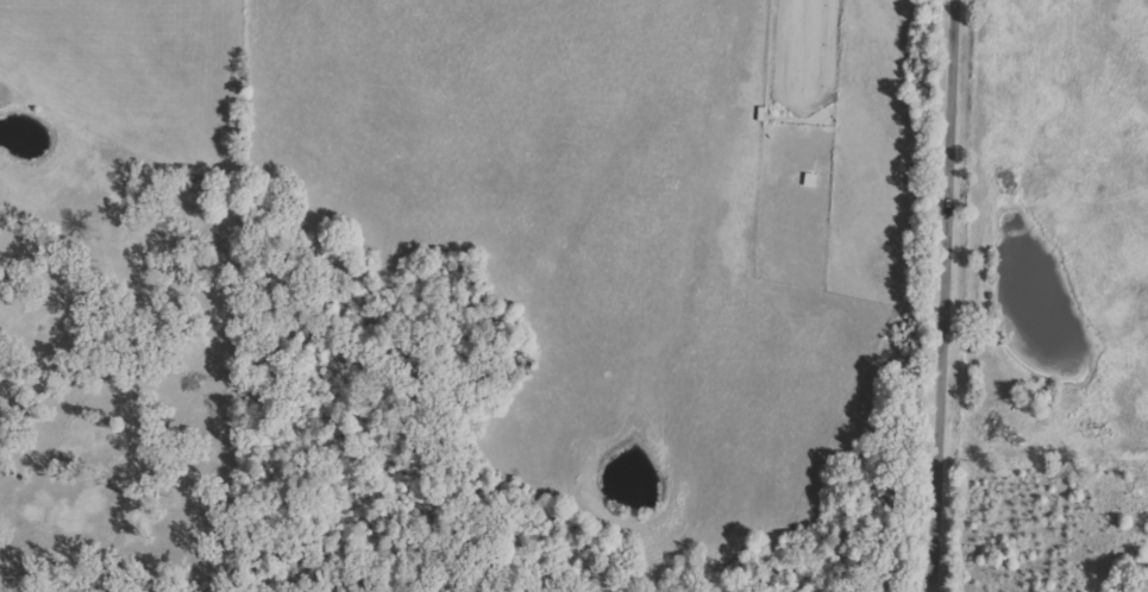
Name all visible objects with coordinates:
road: (952, 296)

